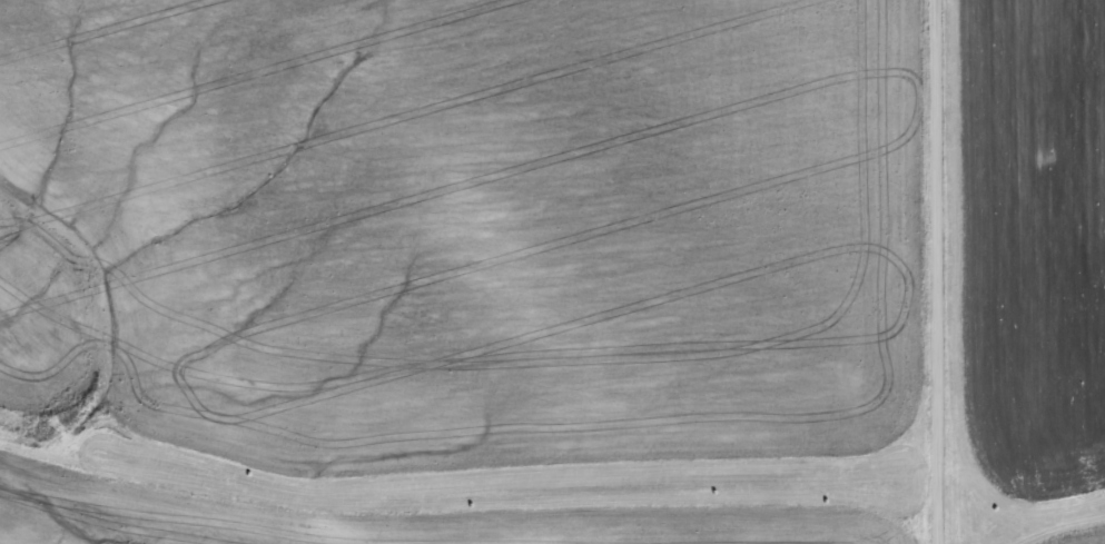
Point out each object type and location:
road: (937, 271)

